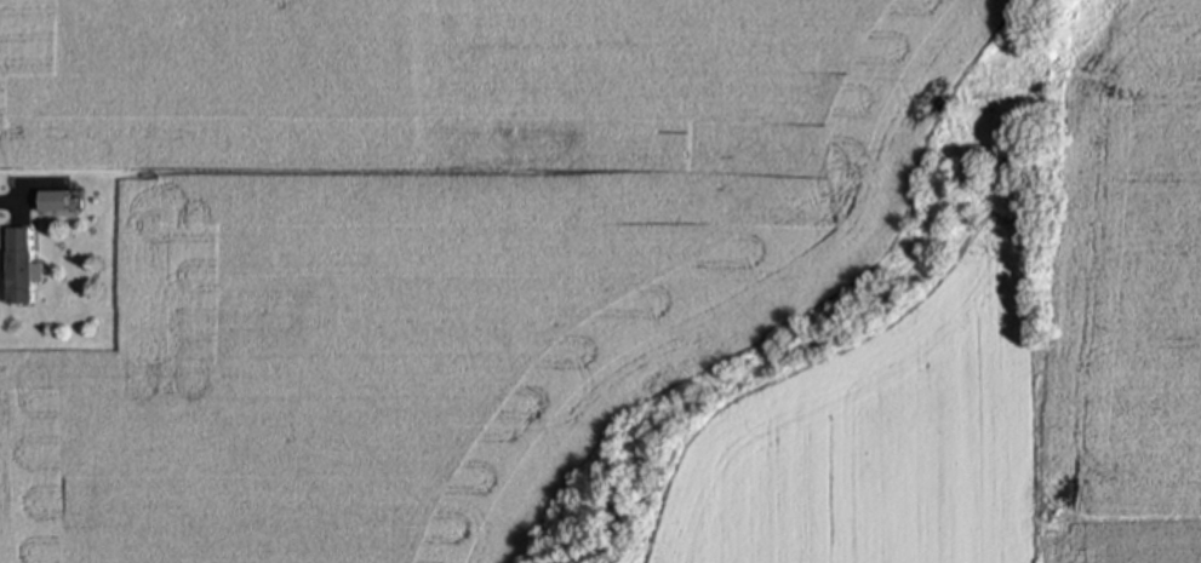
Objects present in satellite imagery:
building: (52, 202)
building: (17, 268)

